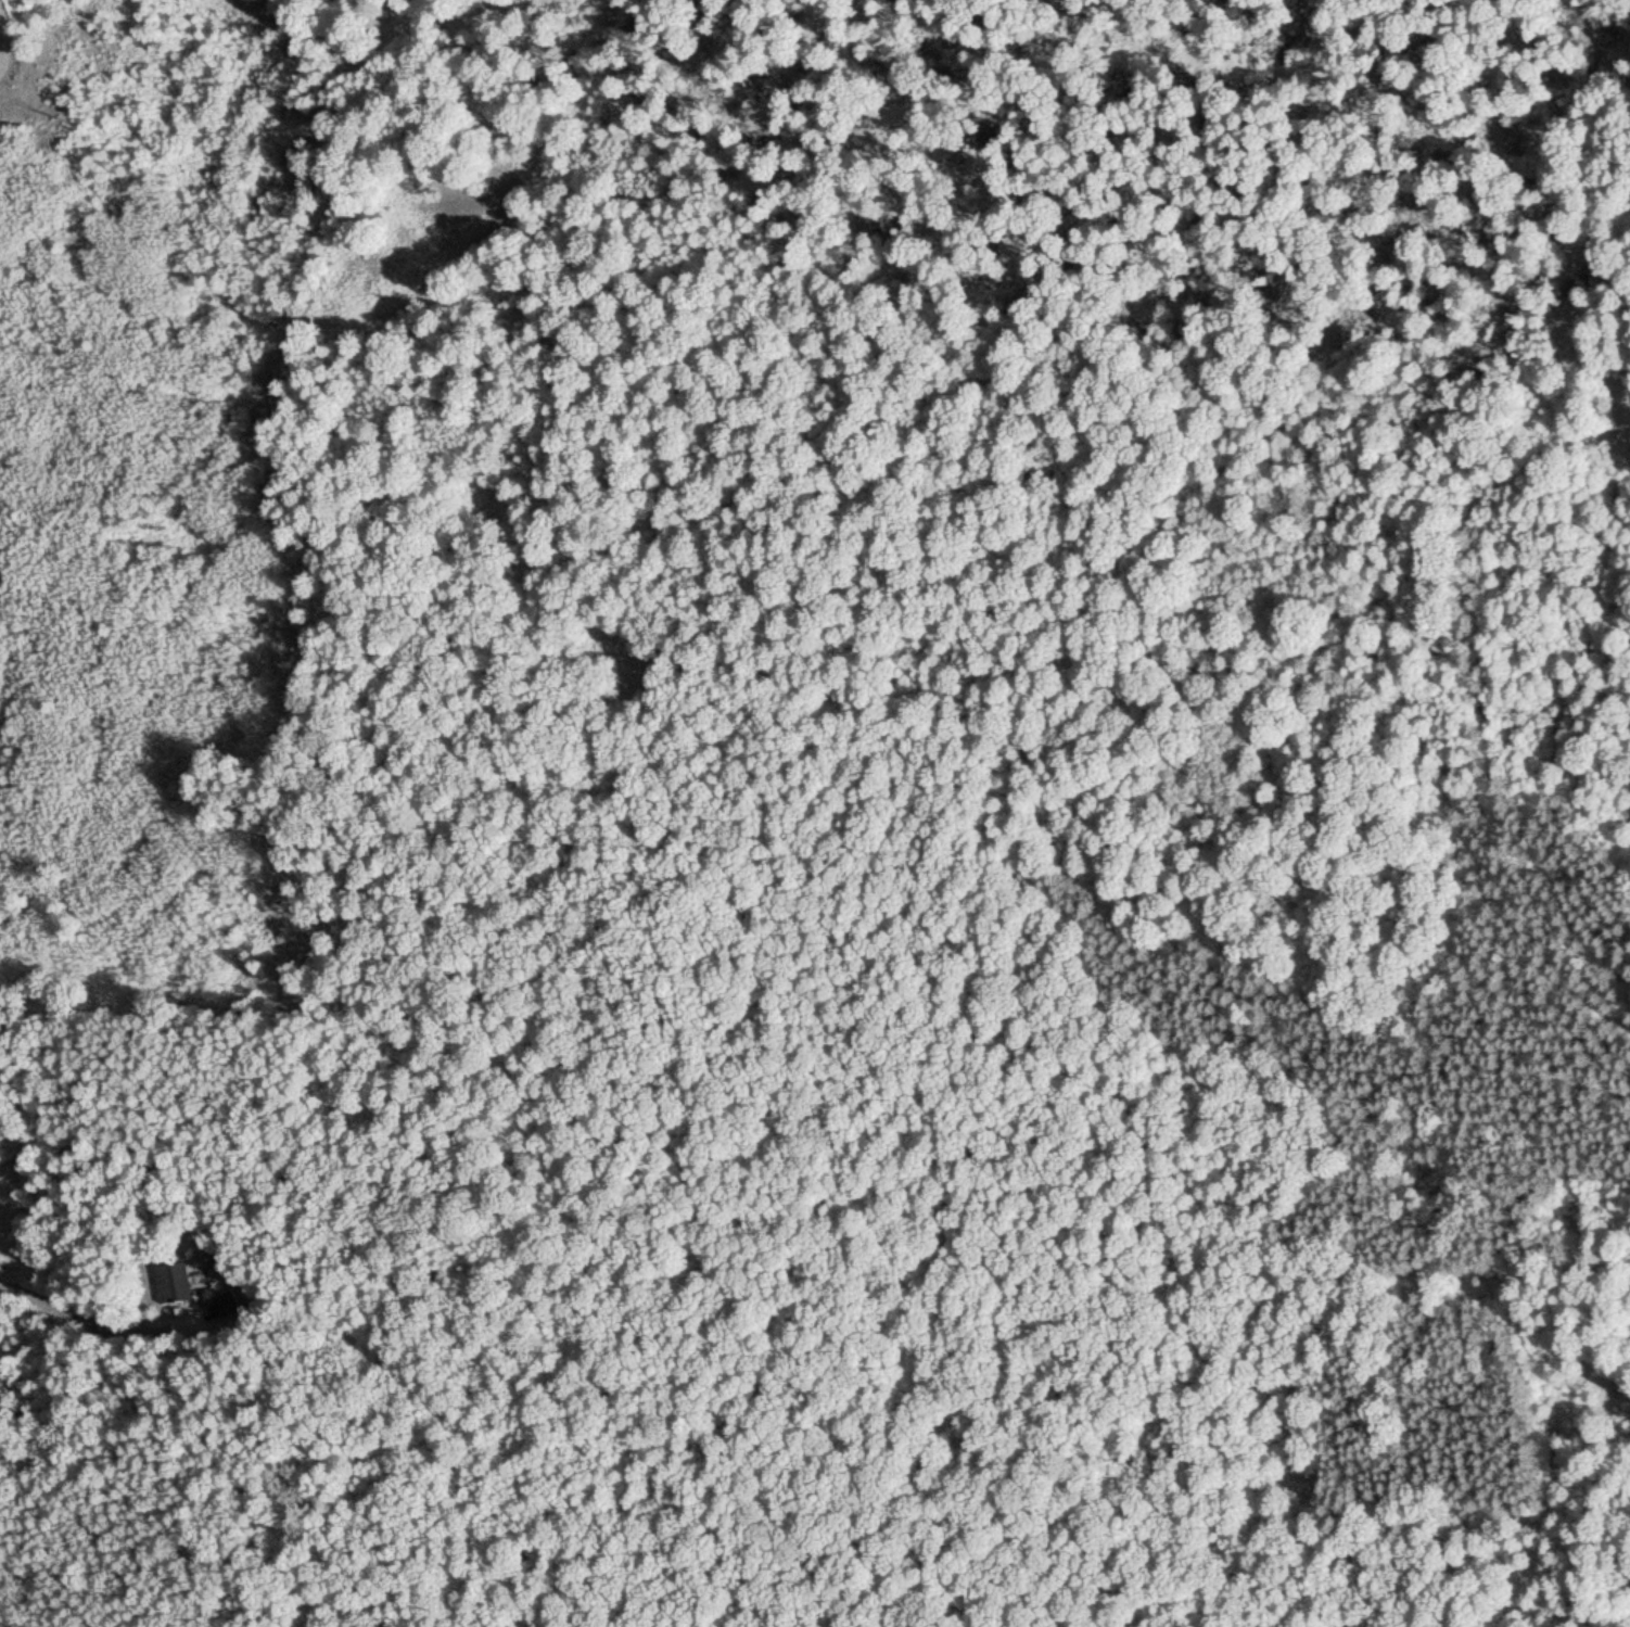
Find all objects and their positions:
road: (9, 37)
building: (180, 1281)
building: (232, 1301)

